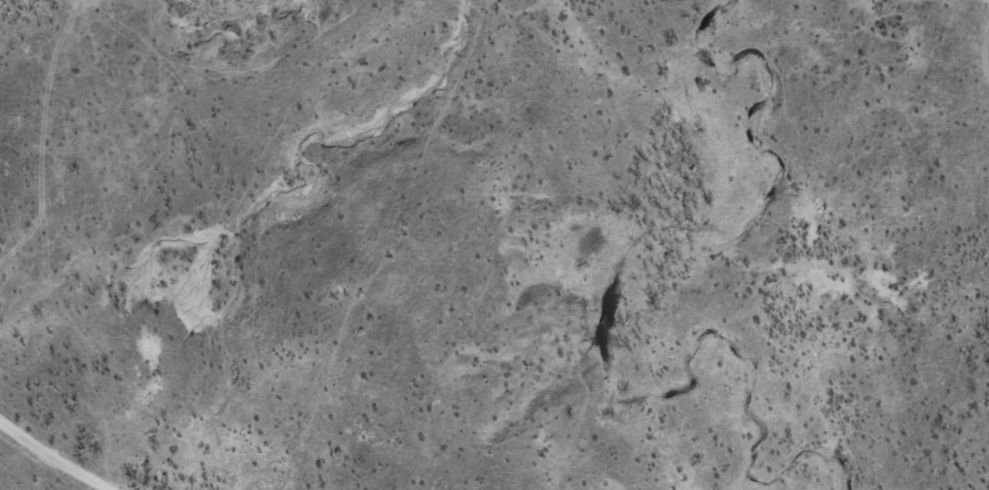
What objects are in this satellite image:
road: (42, 473)

